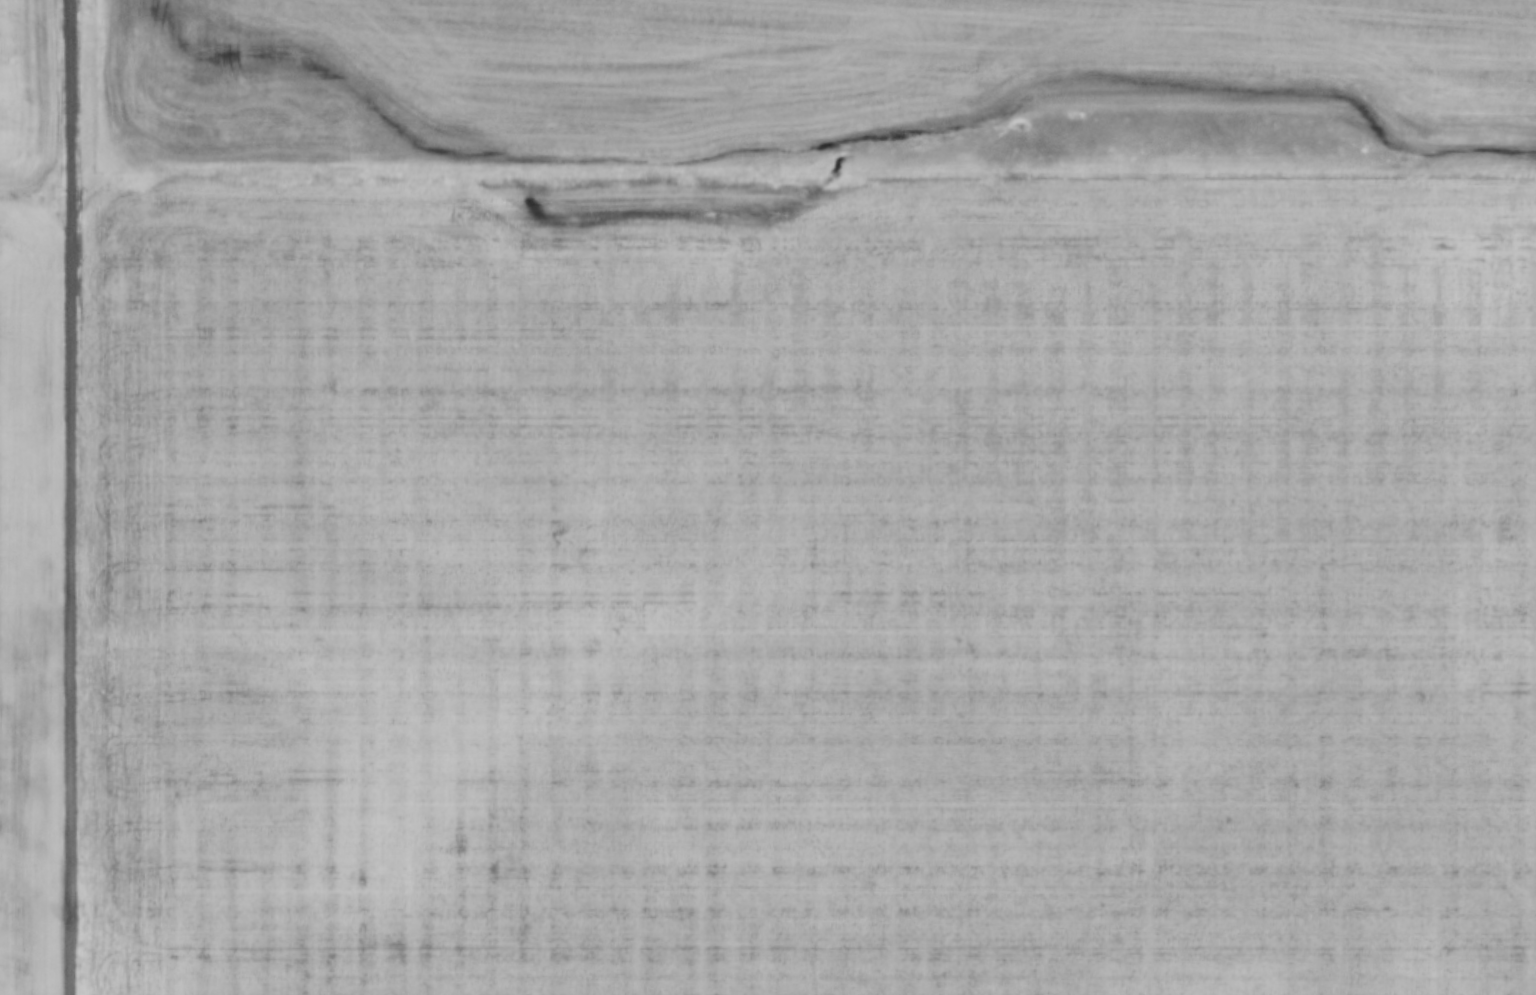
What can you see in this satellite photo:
road: (35, 194)
road: (68, 497)

